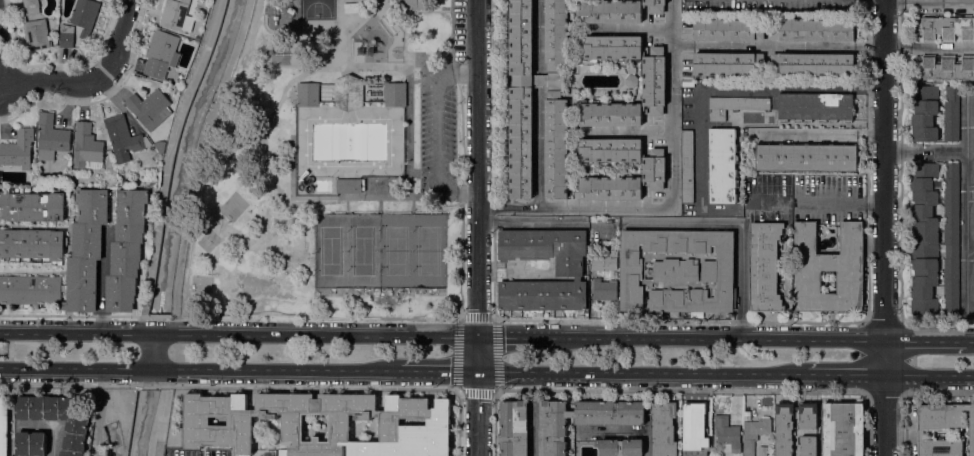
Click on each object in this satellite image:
road: (931, 0)
road: (382, 3)
building: (413, 4)
building: (654, 5)
building: (31, 6)
road: (379, 7)
park: (317, 9)
road: (419, 11)
building: (610, 11)
building: (176, 15)
building: (84, 16)
building: (945, 28)
building: (727, 29)
building: (812, 29)
road: (452, 30)
parking lot: (460, 30)
road: (633, 30)
road: (304, 32)
road: (537, 32)
building: (36, 34)
building: (556, 34)
building: (66, 36)
road: (119, 40)
road: (779, 46)
building: (610, 47)
road: (930, 47)
building: (161, 53)
road: (304, 57)
building: (726, 63)
building: (812, 64)
road: (355, 66)
road: (3, 67)
building: (945, 69)
building: (631, 70)
building: (631, 80)
building: (654, 80)
road: (52, 83)
road: (733, 84)
road: (1, 91)
building: (348, 92)
building: (632, 92)
building: (308, 94)
building: (394, 94)
road: (103, 98)
building: (520, 98)
building: (734, 105)
building: (815, 106)
building: (148, 107)
building: (924, 112)
building: (951, 113)
road: (408, 131)
parking lot: (437, 133)
road: (441, 134)
road: (629, 134)
road: (819, 134)
building: (50, 137)
building: (123, 138)
building: (973, 144)
building: (87, 147)
building: (556, 147)
road: (538, 148)
building: (18, 149)
building: (610, 150)
road: (927, 151)
building: (806, 157)
road: (194, 161)
road: (167, 162)
building: (722, 165)
park: (327, 167)
building: (686, 167)
road: (966, 177)
building: (626, 181)
road: (462, 183)
building: (350, 185)
road: (324, 197)
road: (672, 198)
building: (33, 206)
road: (494, 210)
street lamp: (313, 227)
street lamp: (446, 228)
road: (479, 228)
road: (736, 228)
road: (888, 228)
street lamp: (347, 232)
street lamp: (380, 232)
street lamp: (412, 232)
building: (933, 237)
building: (32, 243)
building: (126, 250)
street lamp: (347, 250)
park: (379, 250)
street lamp: (380, 250)
park: (396, 250)
park: (331, 251)
park: (363, 251)
street lamp: (412, 251)
park: (428, 251)
street lamp: (313, 252)
street lamp: (446, 253)
building: (604, 261)
building: (68, 262)
building: (764, 266)
street lamp: (347, 269)
street lamp: (380, 269)
street lamp: (412, 269)
building: (569, 269)
building: (828, 269)
building: (674, 270)
building: (716, 272)
street lamp: (313, 273)
street lamp: (446, 274)
building: (614, 274)
road: (965, 278)
building: (973, 283)
road: (868, 285)
building: (604, 289)
road: (85, 315)
road: (299, 316)
road: (447, 318)
road: (460, 319)
road: (606, 320)
road: (239, 331)
road: (526, 334)
road: (730, 338)
road: (925, 340)
road: (968, 341)
road: (159, 351)
road: (26, 369)
road: (223, 371)
road: (435, 373)
road: (638, 374)
road: (845, 376)
road: (932, 377)
road: (494, 390)
road: (162, 412)
road: (100, 413)
building: (808, 415)
building: (293, 419)
building: (582, 420)
building: (77, 425)
building: (3, 426)
building: (694, 426)
road: (155, 428)
building: (513, 428)
building: (663, 428)
building: (784, 428)
building: (943, 428)
building: (843, 429)
building: (754, 433)
building: (726, 435)
building: (30, 443)
building: (808, 446)
building: (619, 447)

